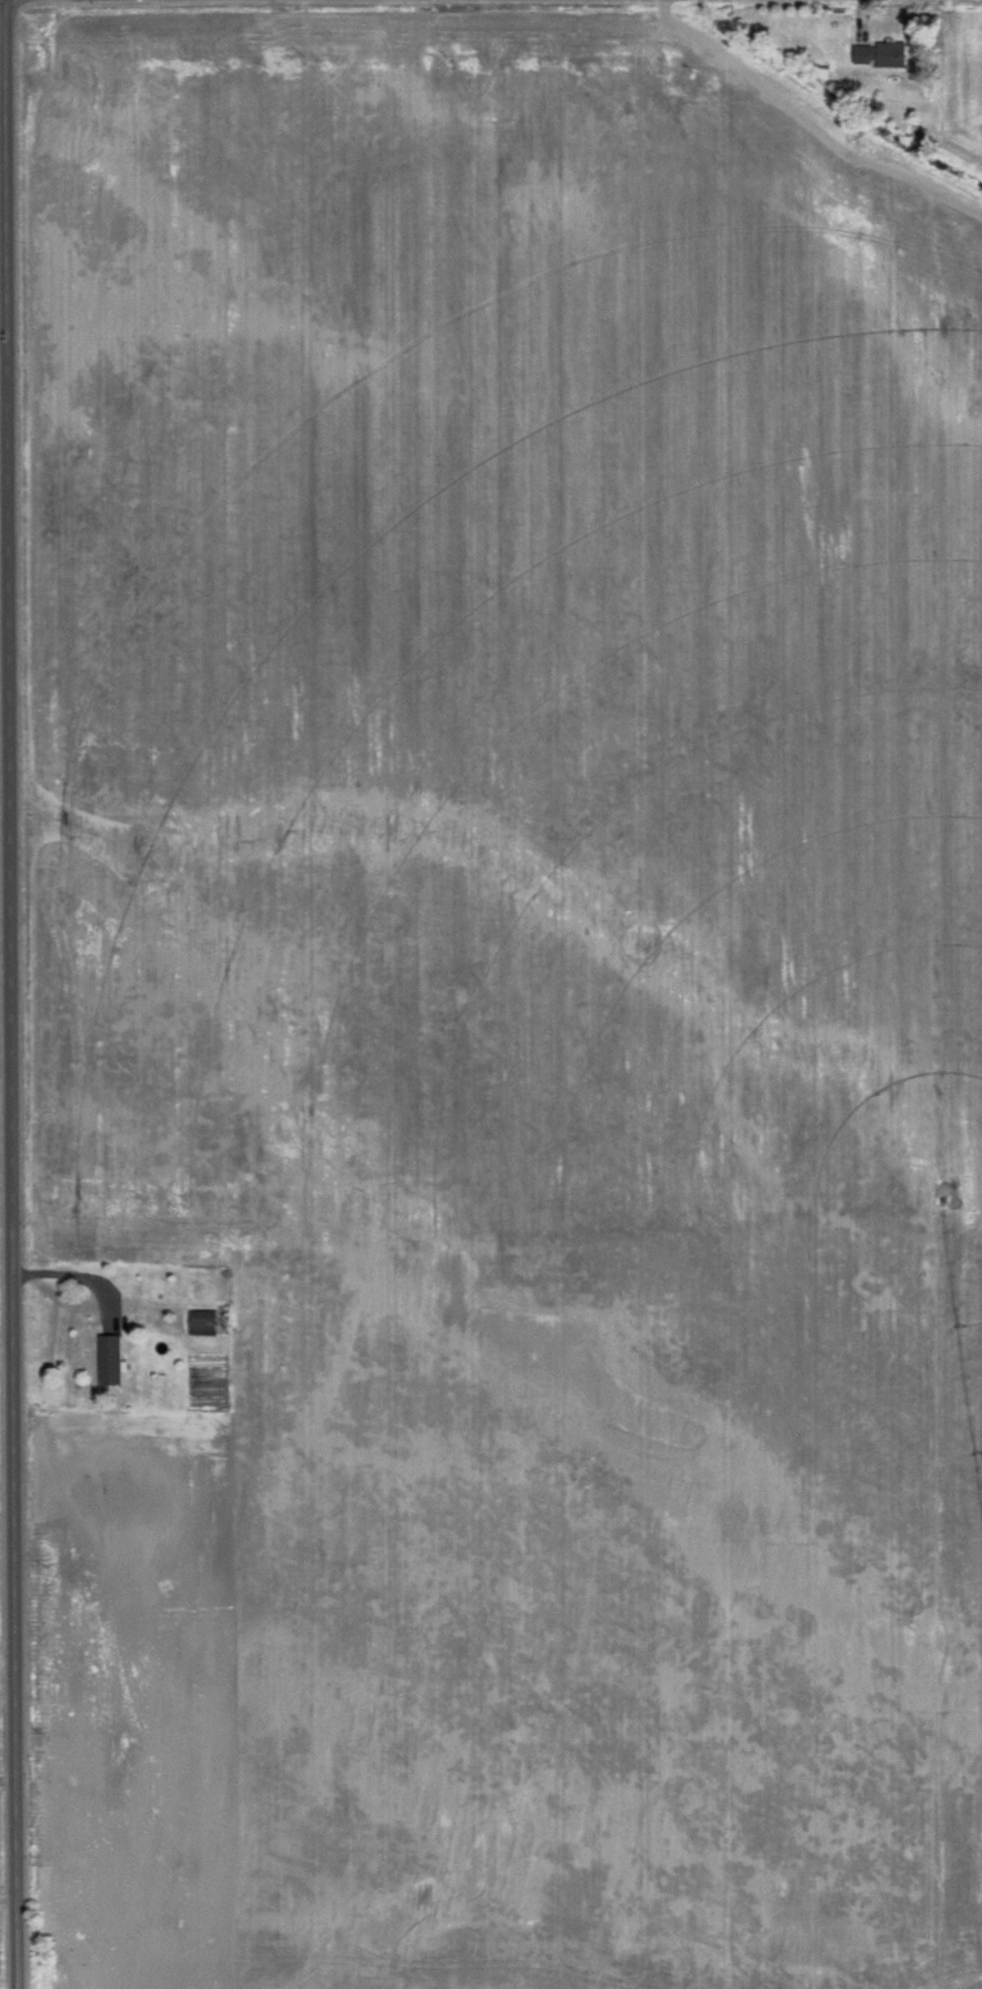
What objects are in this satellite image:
building: (880, 54)
road: (9, 994)
building: (201, 1322)
building: (110, 1359)
road: (7, 1783)
road: (8, 1898)

